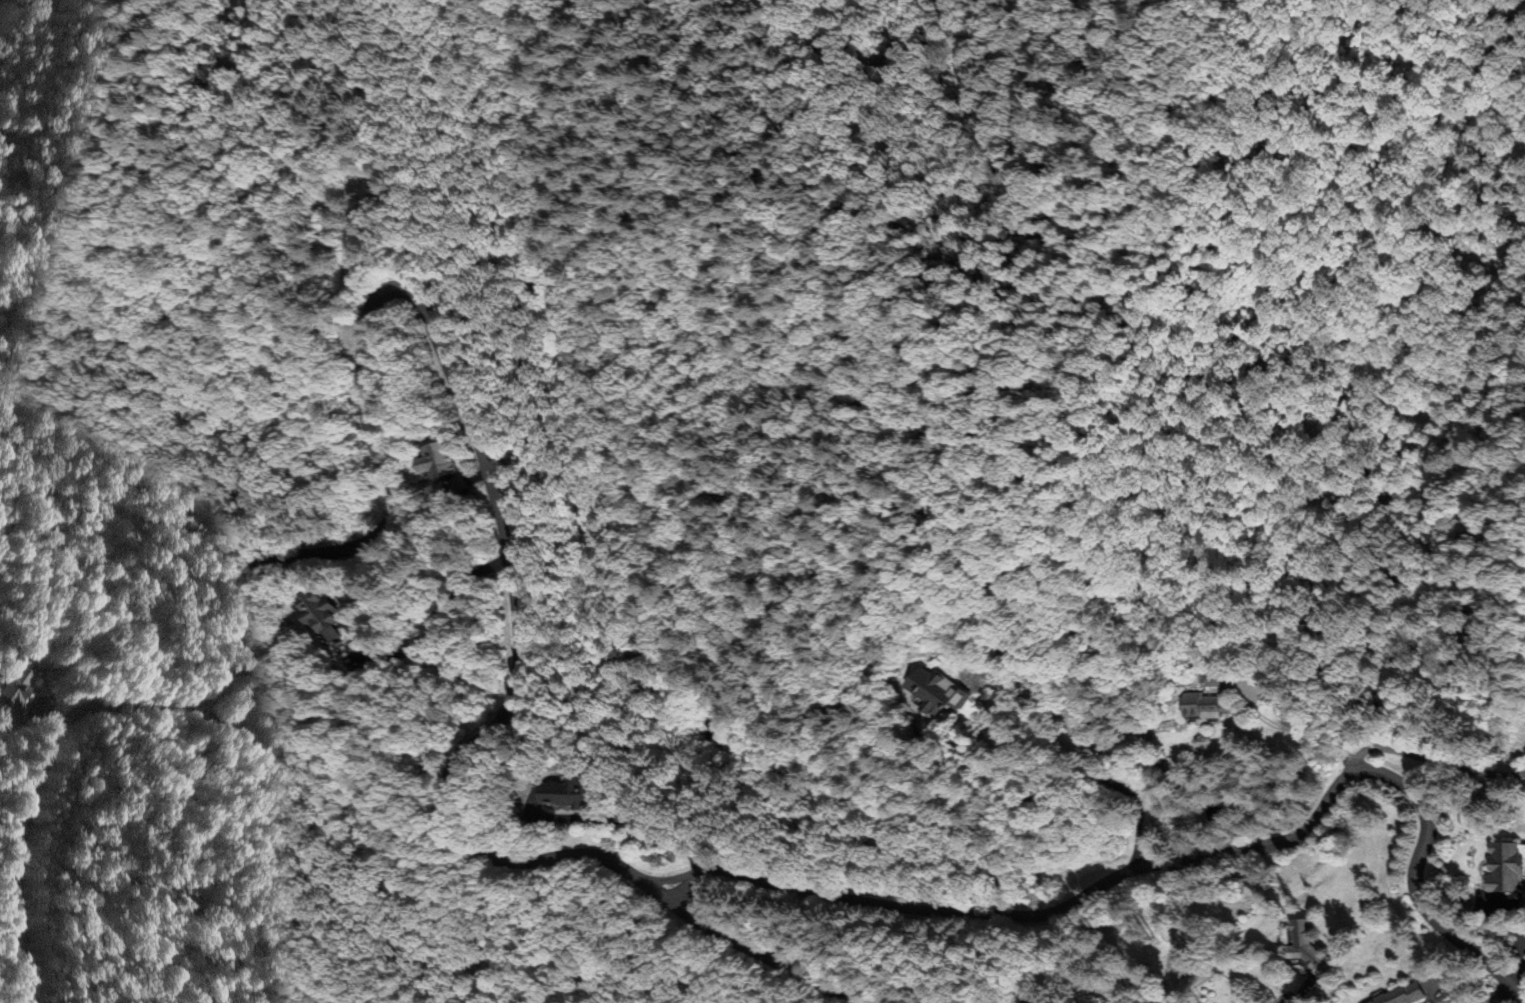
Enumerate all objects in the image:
building: (454, 460)
building: (200, 522)
road: (505, 536)
building: (330, 615)
building: (18, 683)
building: (935, 689)
road: (218, 691)
road: (1041, 693)
building: (1210, 706)
road: (232, 708)
road: (1288, 727)
road: (1432, 760)
building: (591, 794)
road: (1138, 801)
road: (29, 804)
road: (1198, 856)
building: (1510, 866)
road: (671, 877)
road: (686, 887)
building: (1307, 943)
building: (1409, 993)
road: (1498, 995)
road: (1046, 998)

